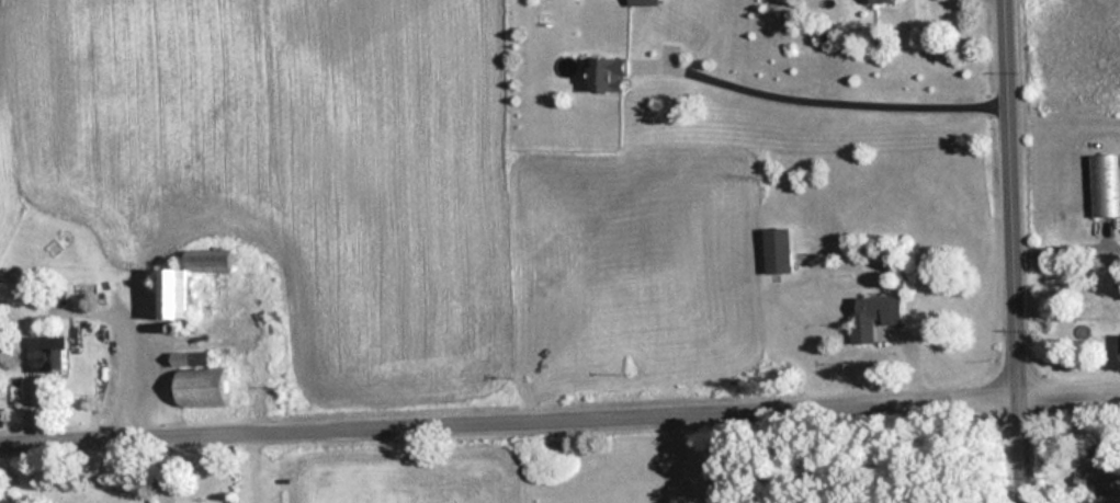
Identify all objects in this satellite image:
building: (879, 1)
building: (642, 2)
building: (606, 73)
road: (830, 85)
building: (1104, 186)
road: (1066, 232)
building: (777, 251)
road: (1014, 251)
building: (185, 281)
building: (875, 316)
building: (1119, 344)
building: (46, 355)
building: (195, 380)
road: (559, 408)
building: (1091, 458)

